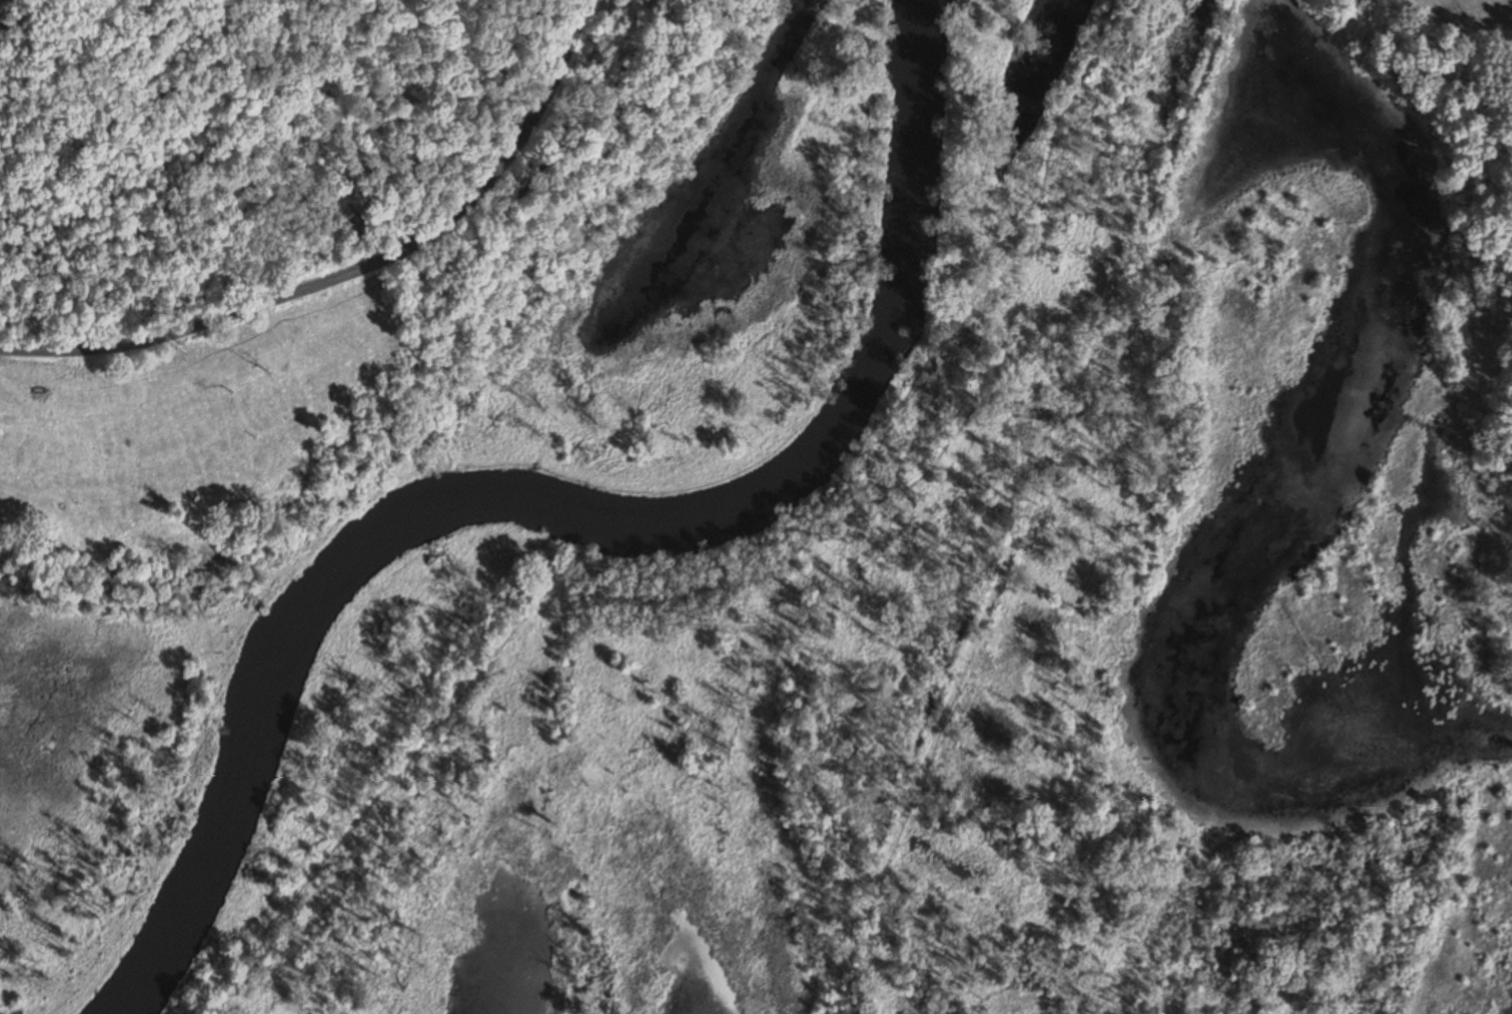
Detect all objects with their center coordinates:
crop: (1470, 15)
road: (355, 268)
river: (567, 507)

